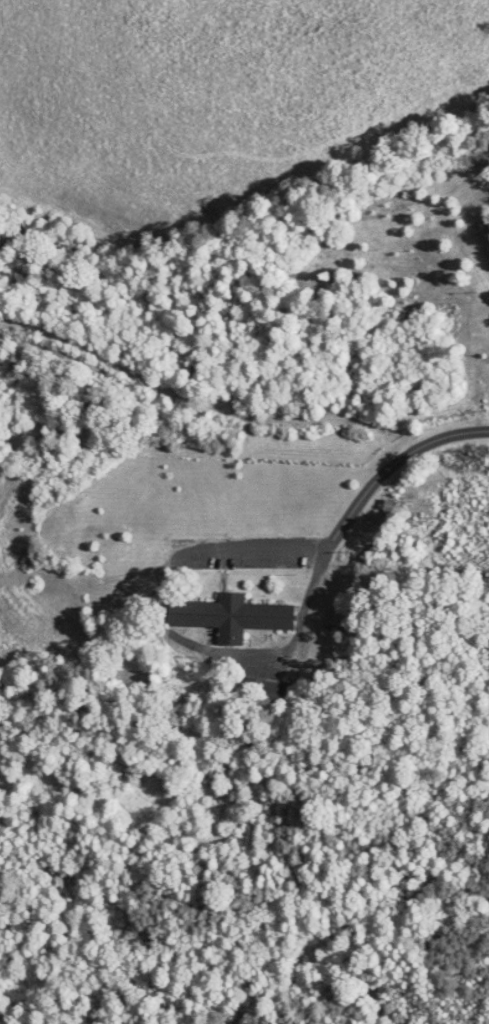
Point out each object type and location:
road: (383, 473)
building: (403, 513)
building: (227, 616)
road: (157, 617)
building: (265, 690)

